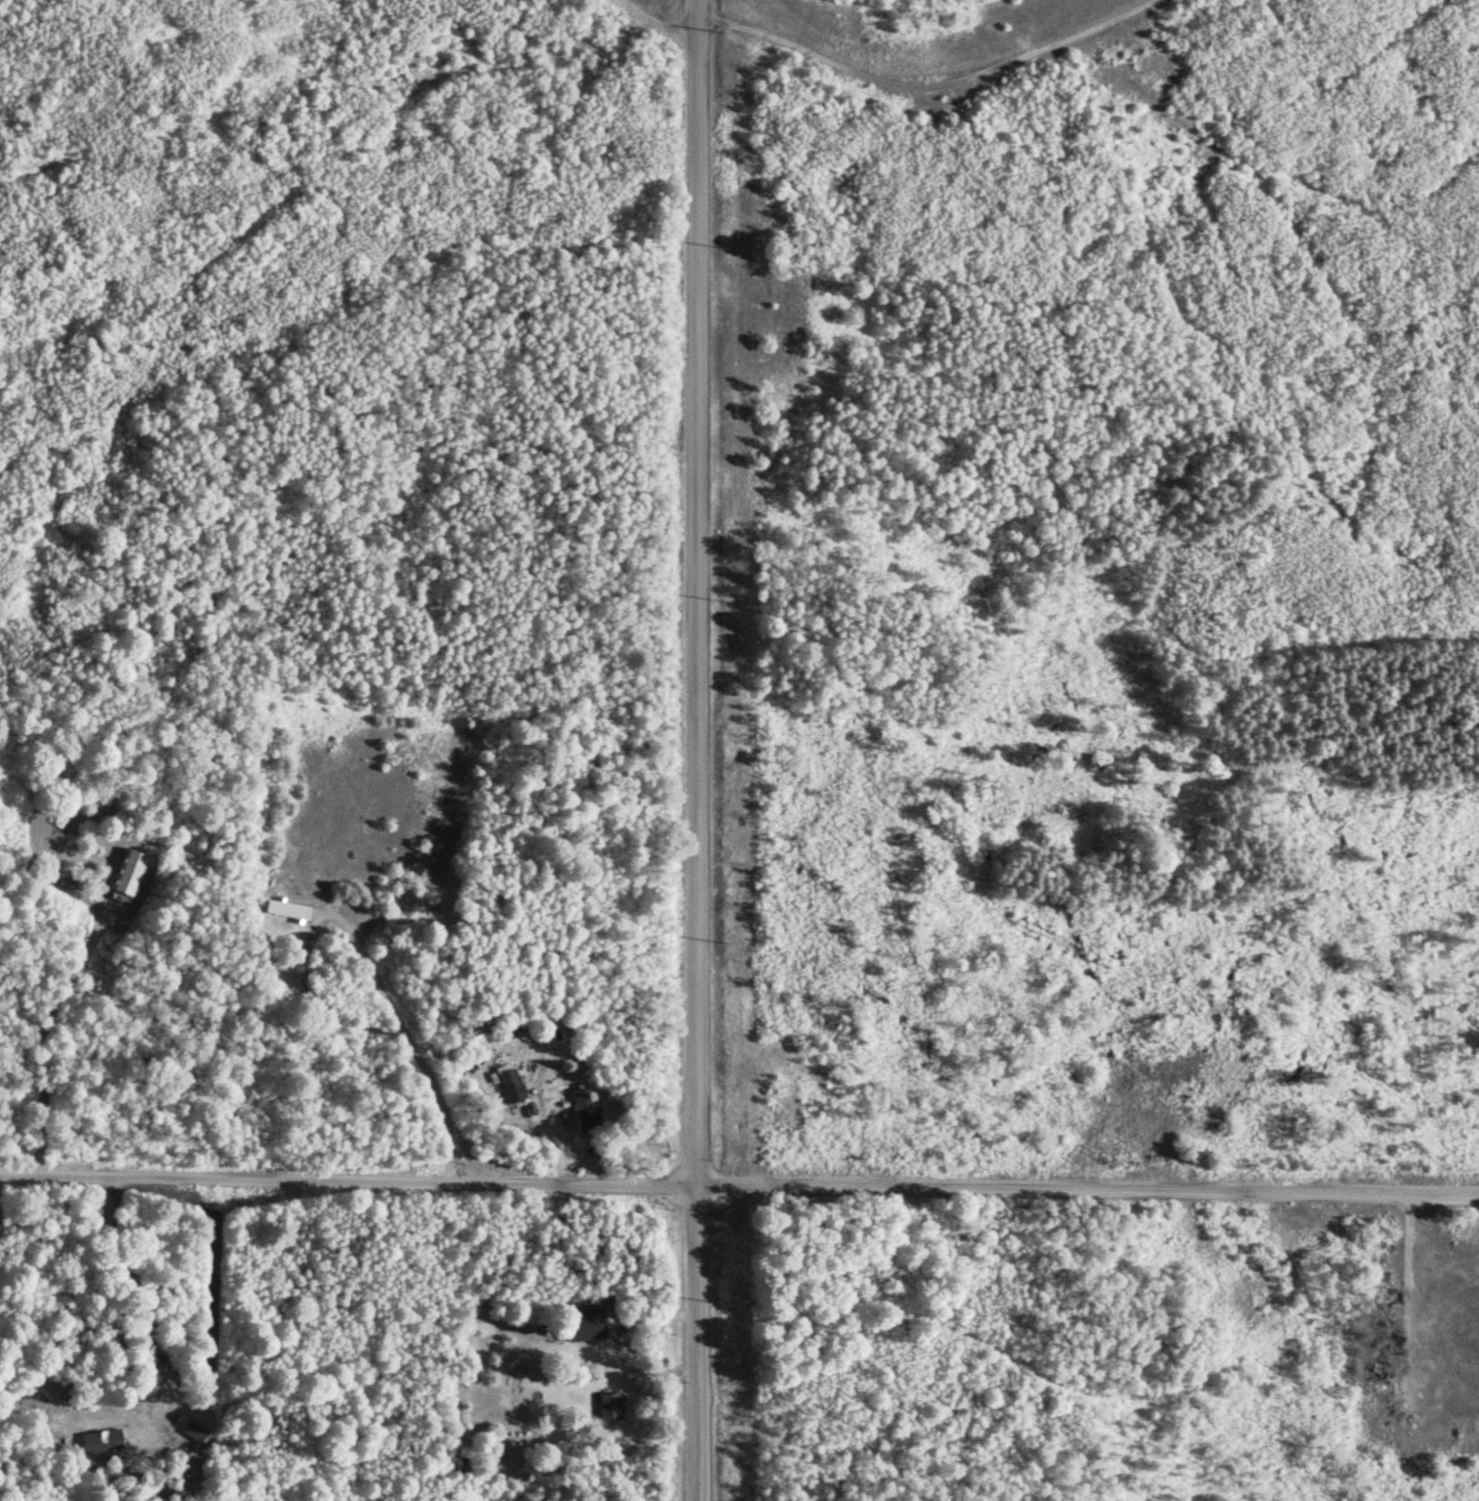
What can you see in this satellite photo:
road: (656, 21)
road: (930, 87)
road: (696, 593)
building: (166, 851)
building: (130, 872)
building: (67, 883)
building: (288, 909)
road: (398, 1026)
road: (54, 1032)
building: (511, 1082)
building: (585, 1110)
road: (544, 1132)
road: (587, 1148)
road: (573, 1150)
road: (348, 1179)
road: (1087, 1189)
road: (1405, 1294)
building: (585, 1323)
road: (697, 1344)
road: (616, 1345)
building: (611, 1406)
building: (196, 1429)
building: (103, 1442)

